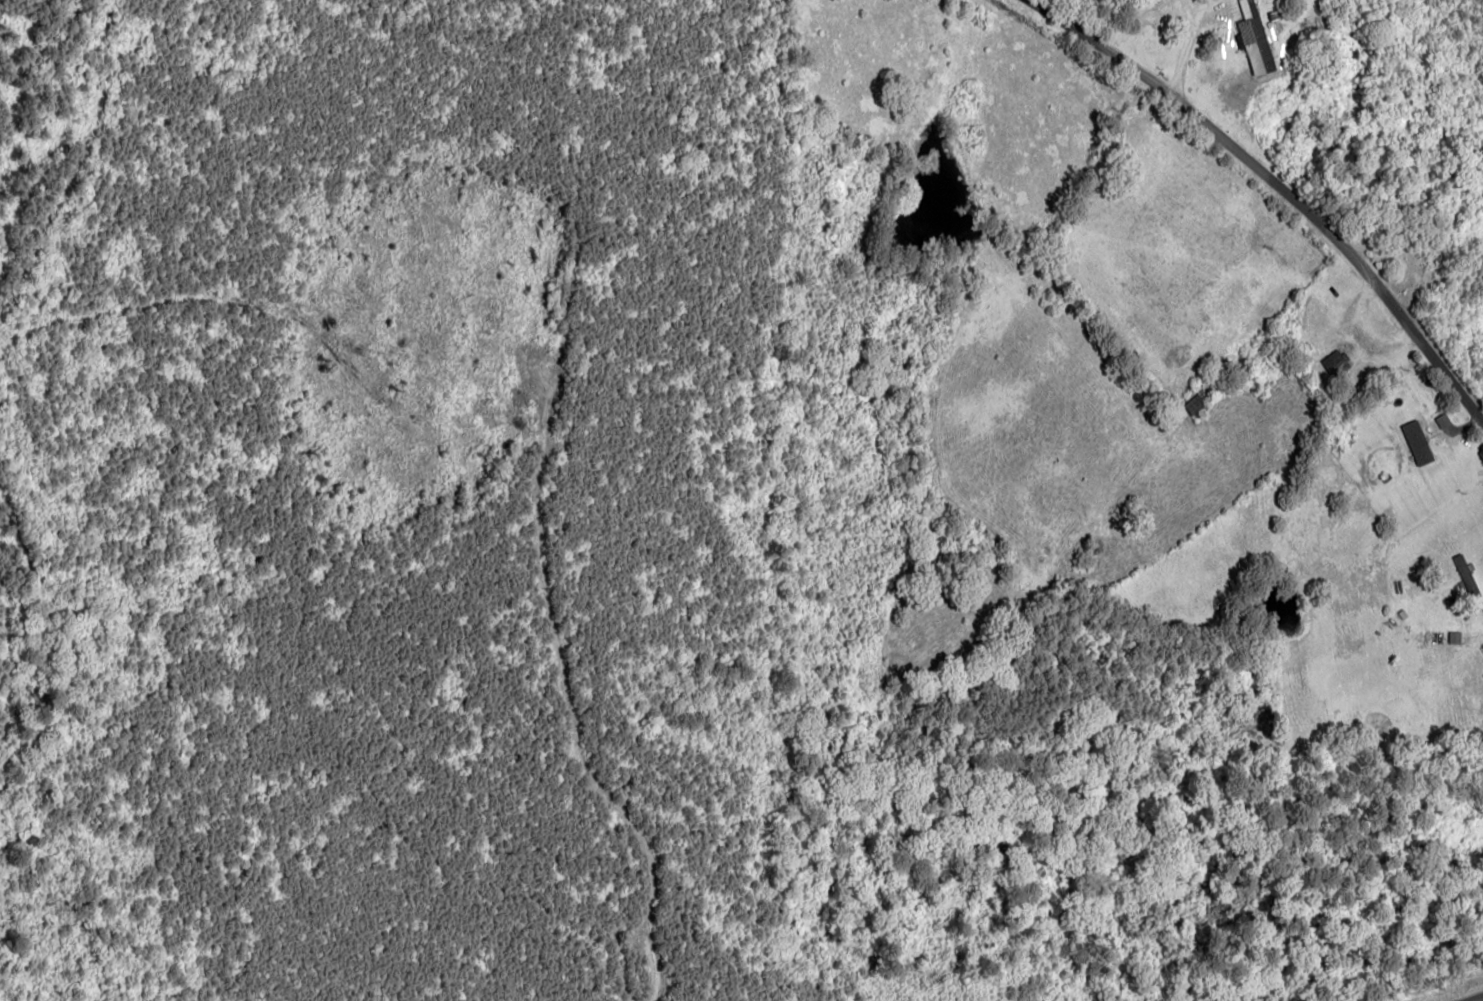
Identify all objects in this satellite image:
building: (1254, 39)
road: (1258, 179)
building: (1336, 363)
building: (1196, 405)
building: (1418, 443)
building: (1455, 638)
road: (1477, 999)

